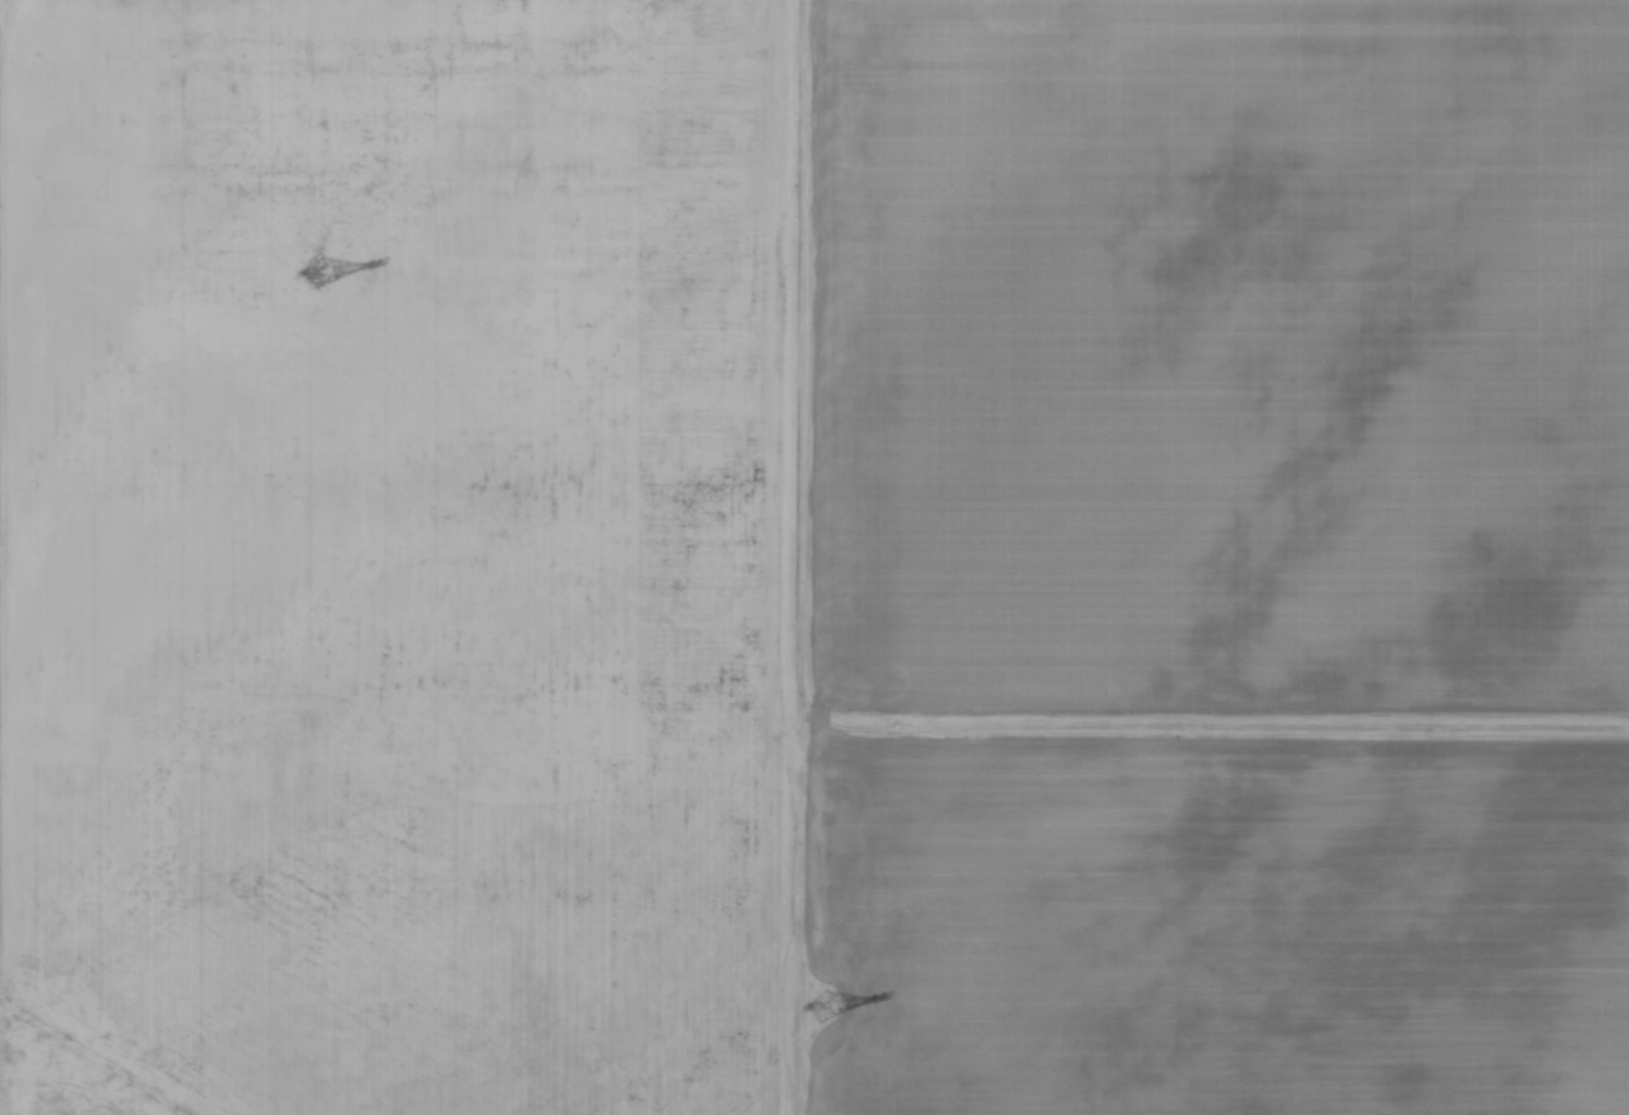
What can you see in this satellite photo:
power tower: (317, 277)
power tower: (818, 1010)

